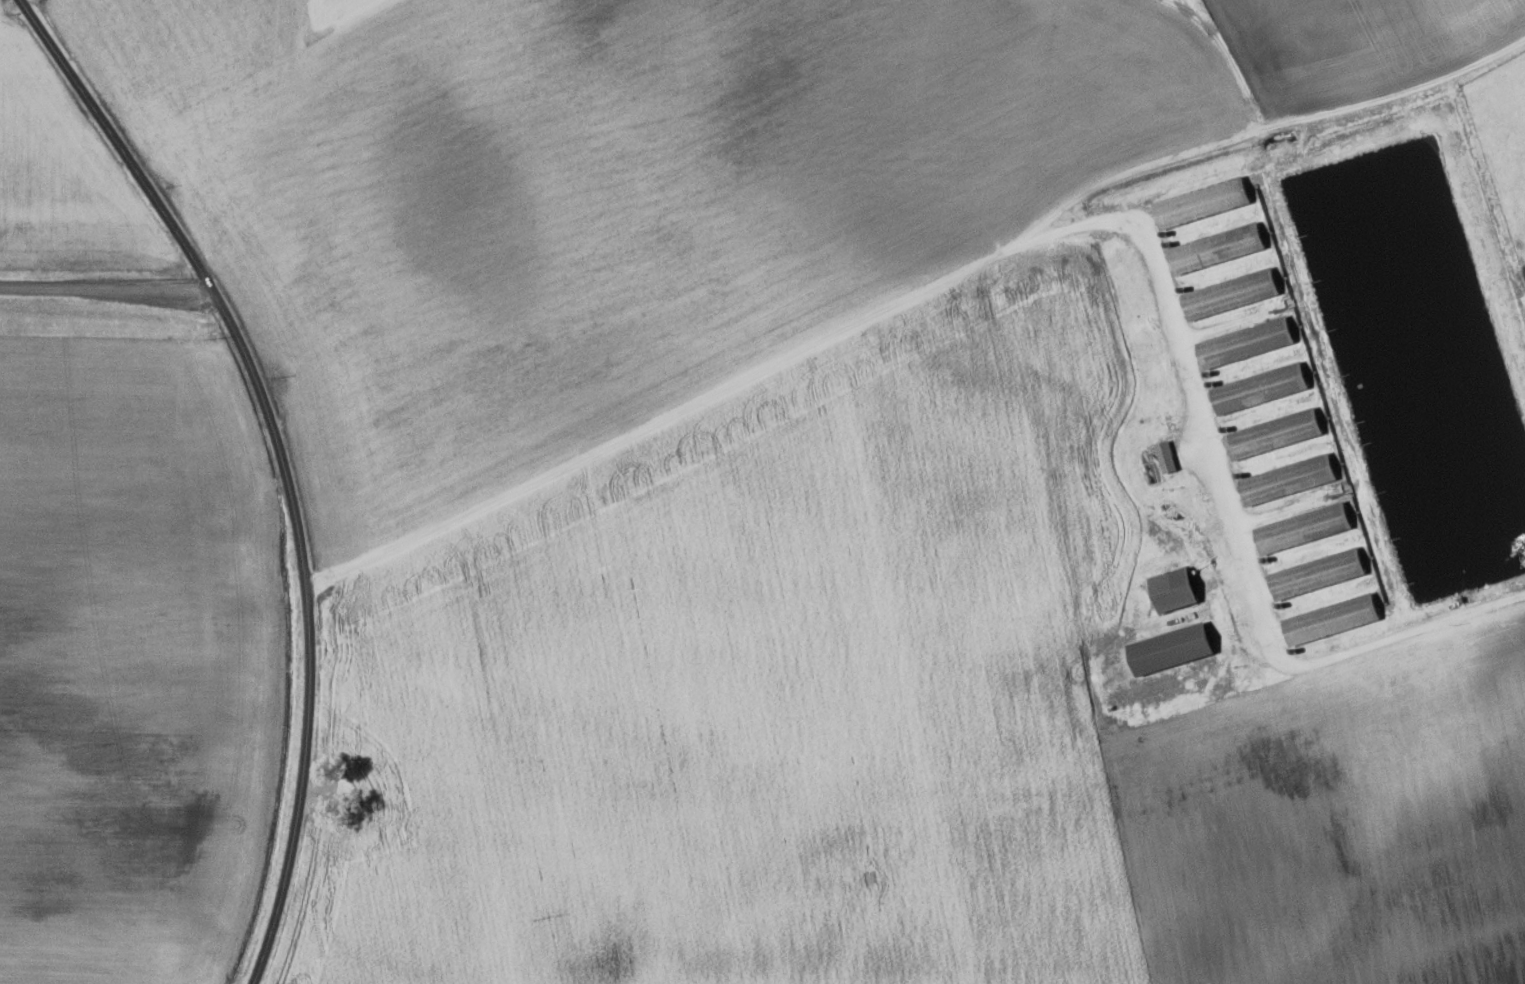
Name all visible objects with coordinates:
road: (20, 0)
building: (1203, 203)
building: (1217, 249)
building: (1231, 294)
building: (1246, 343)
building: (1261, 389)
building: (1275, 434)
building: (1166, 457)
road: (290, 461)
building: (1289, 480)
building: (1303, 529)
building: (1318, 575)
building: (1175, 591)
building: (1332, 620)
building: (1172, 650)

